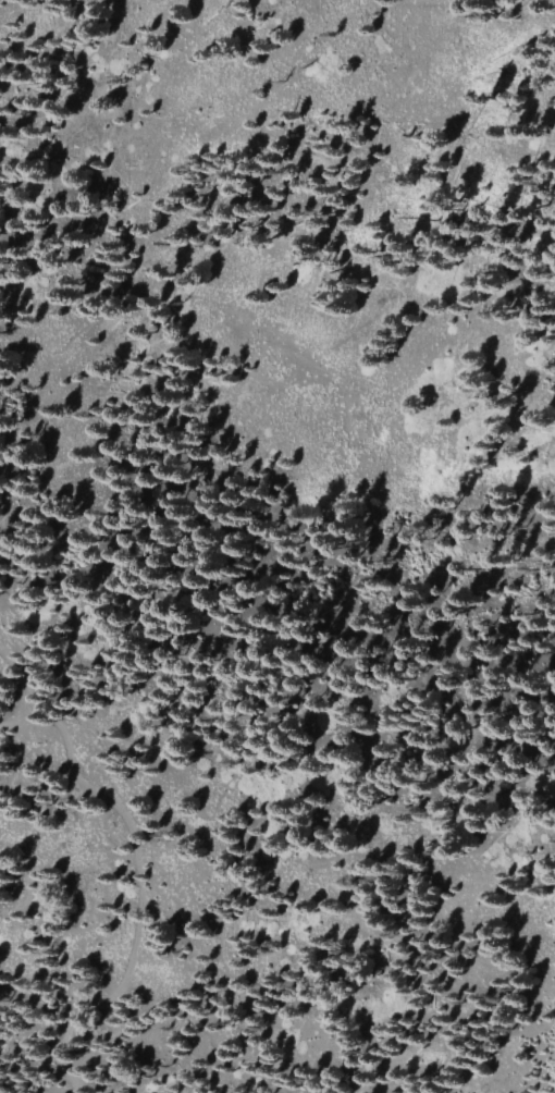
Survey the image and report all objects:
road: (137, 863)

